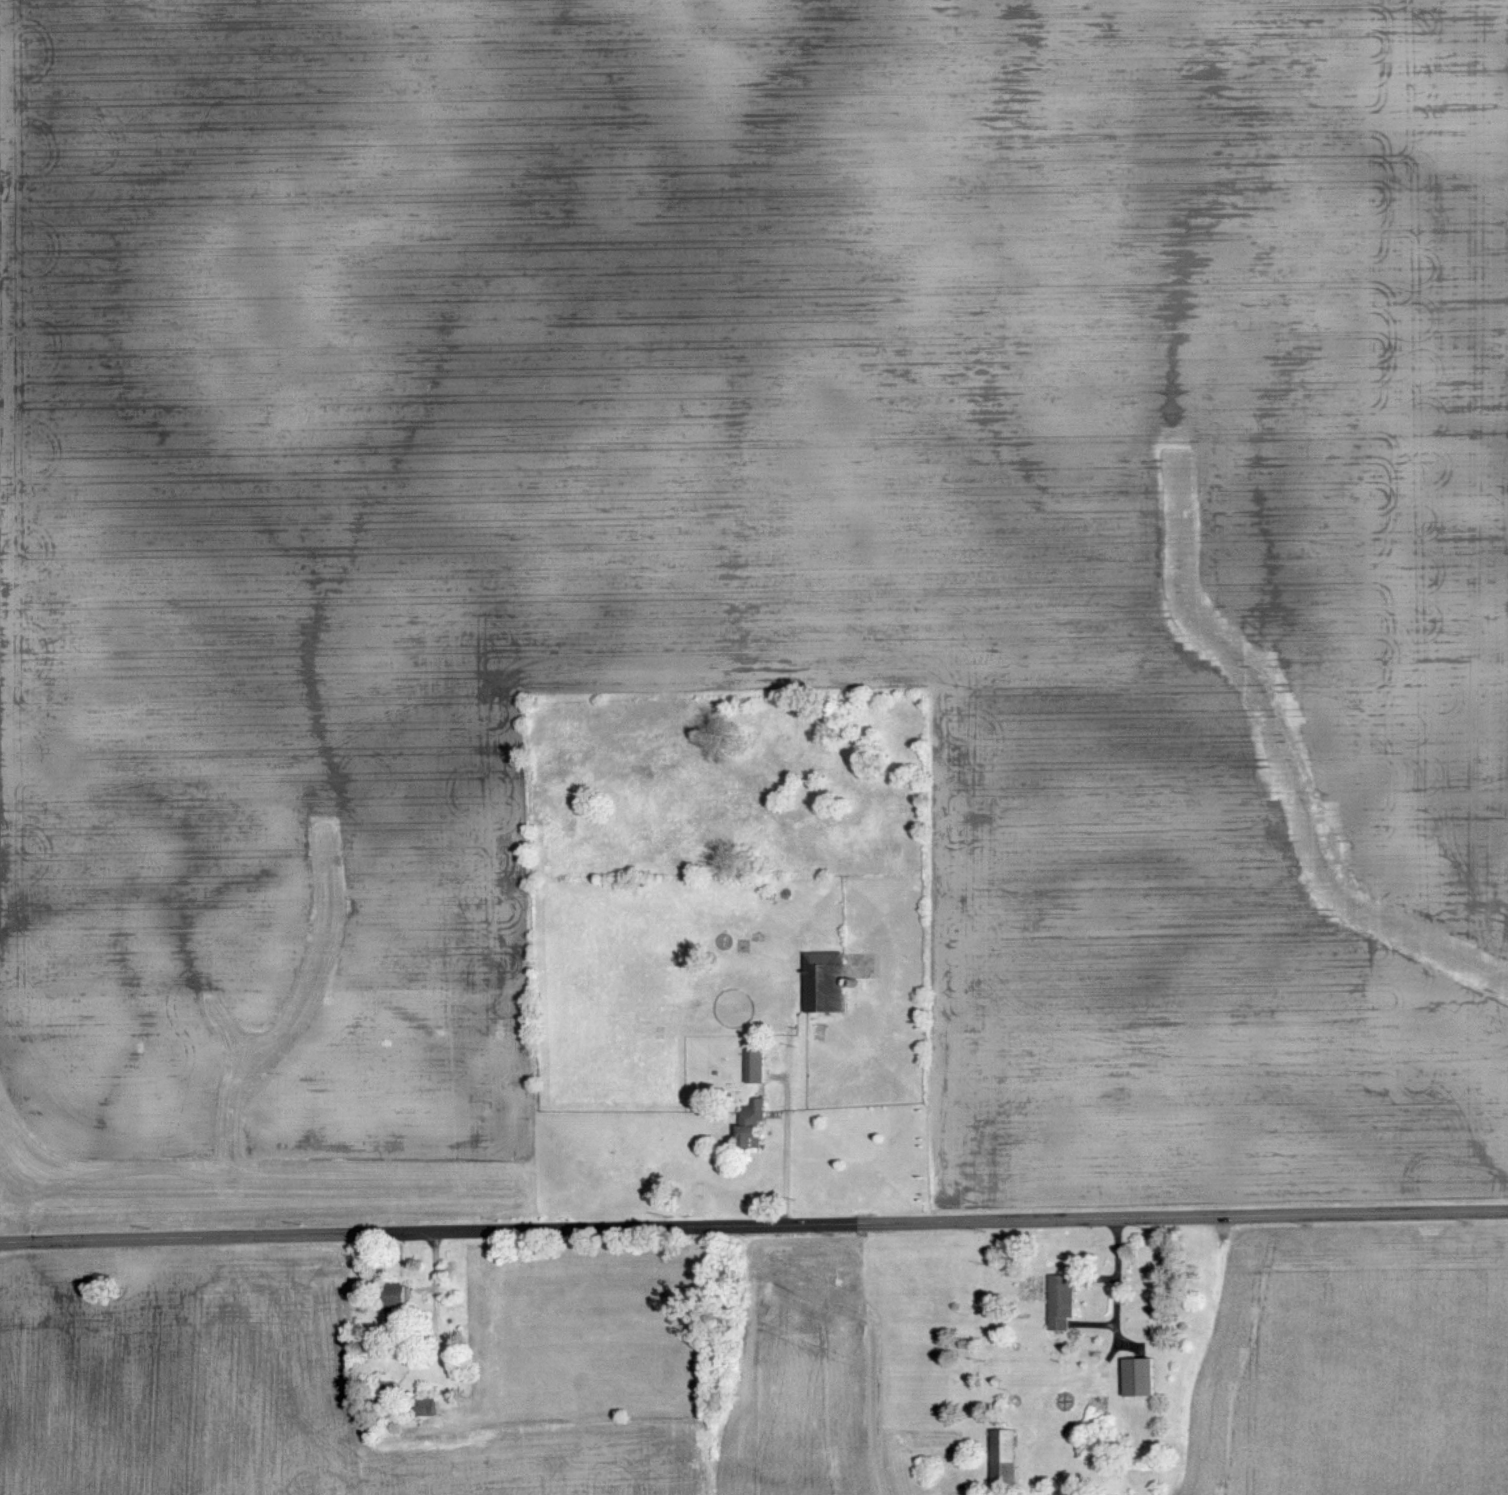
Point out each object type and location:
building: (823, 982)
building: (753, 1065)
building: (750, 1123)
road: (753, 1226)
road: (436, 1260)
road: (1108, 1276)
road: (1117, 1290)
building: (1061, 1299)
building: (398, 1304)
road: (1094, 1323)
road: (1113, 1347)
crop: (1352, 1364)
crop: (798, 1367)
crop: (196, 1376)
building: (1141, 1376)
building: (388, 1393)
building: (425, 1406)
crop: (592, 1454)
building: (1006, 1459)

